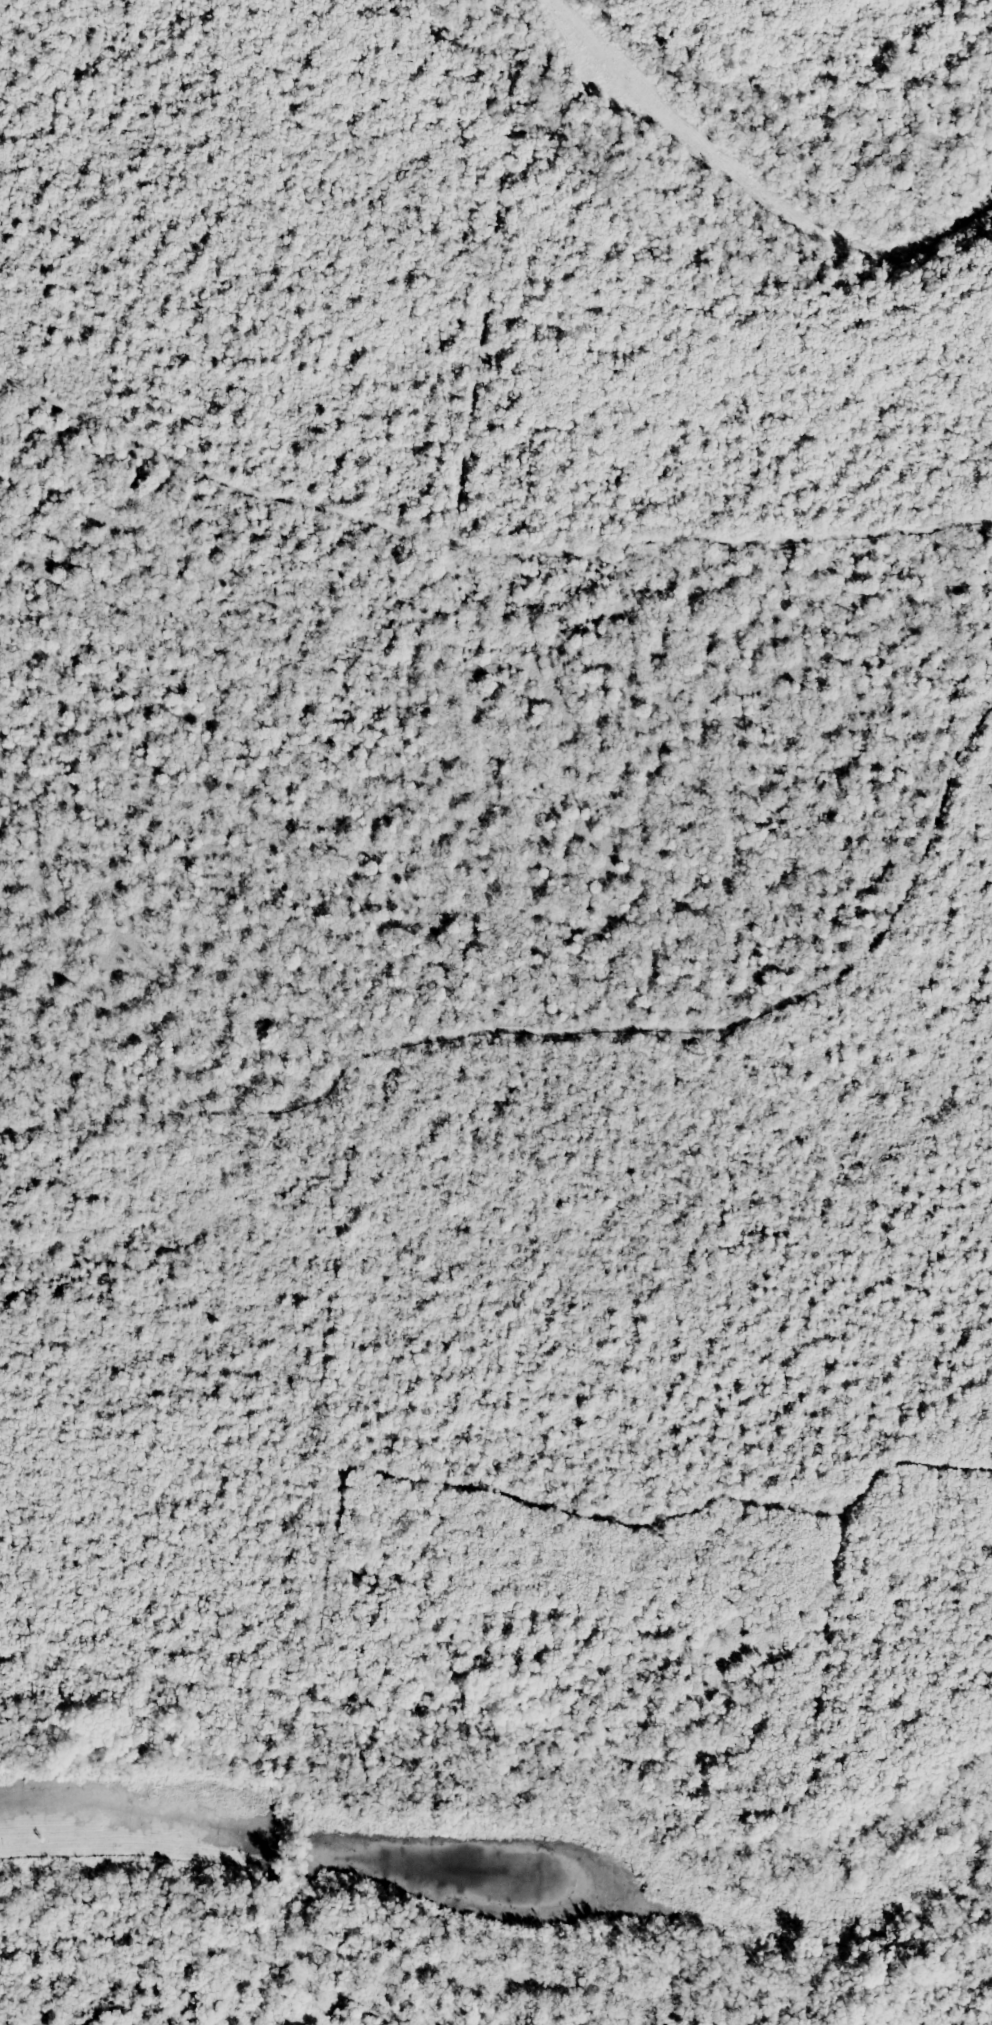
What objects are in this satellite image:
river: (118, 1800)

